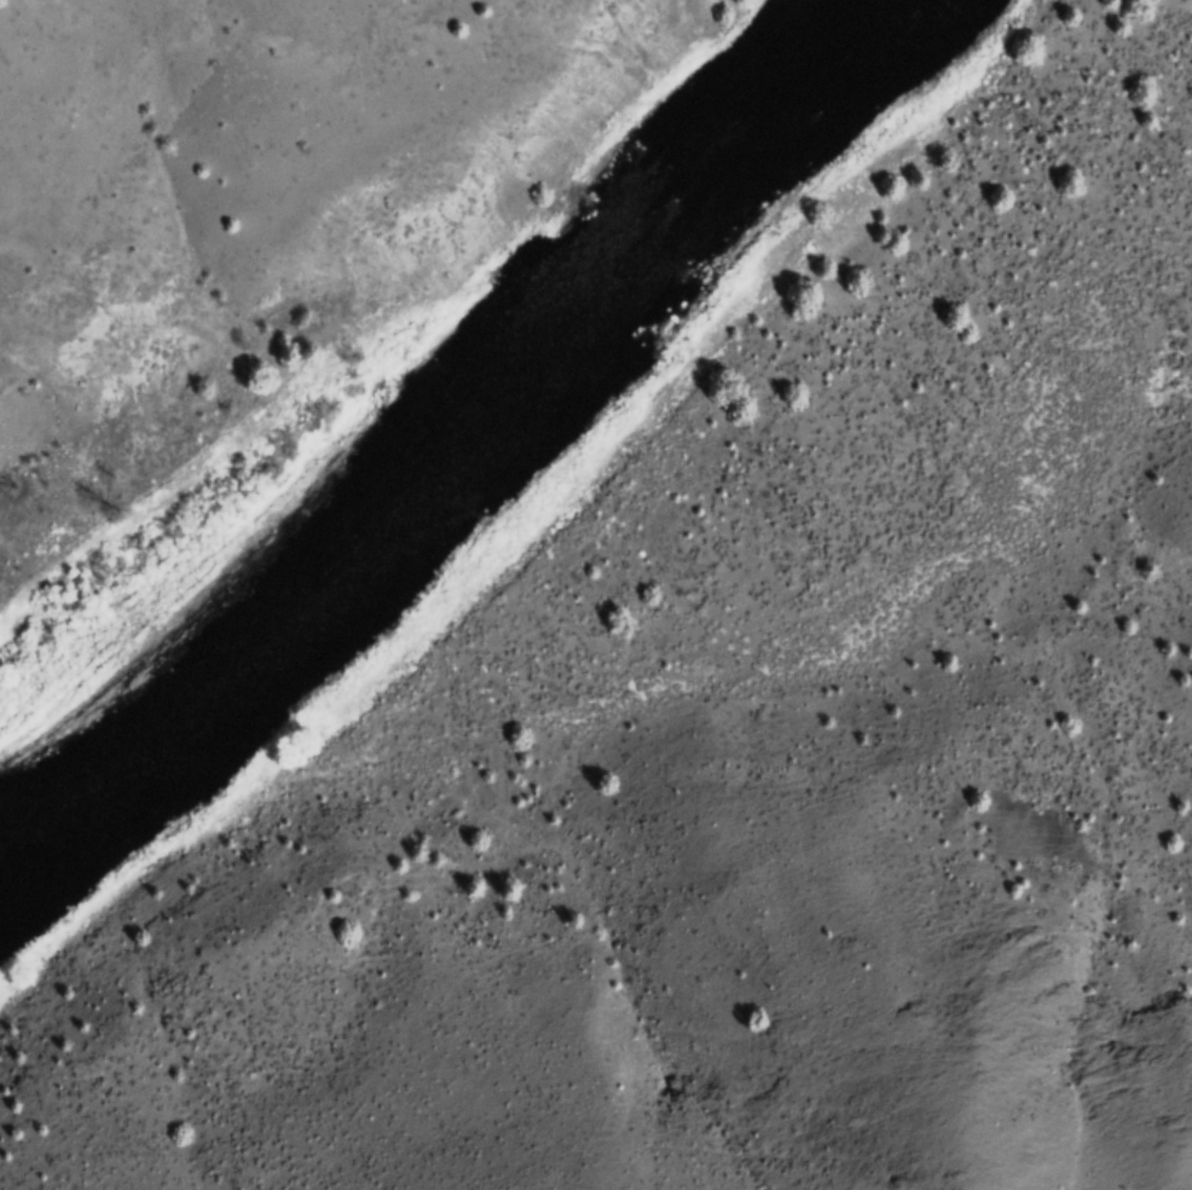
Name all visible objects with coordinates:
river: (434, 440)

